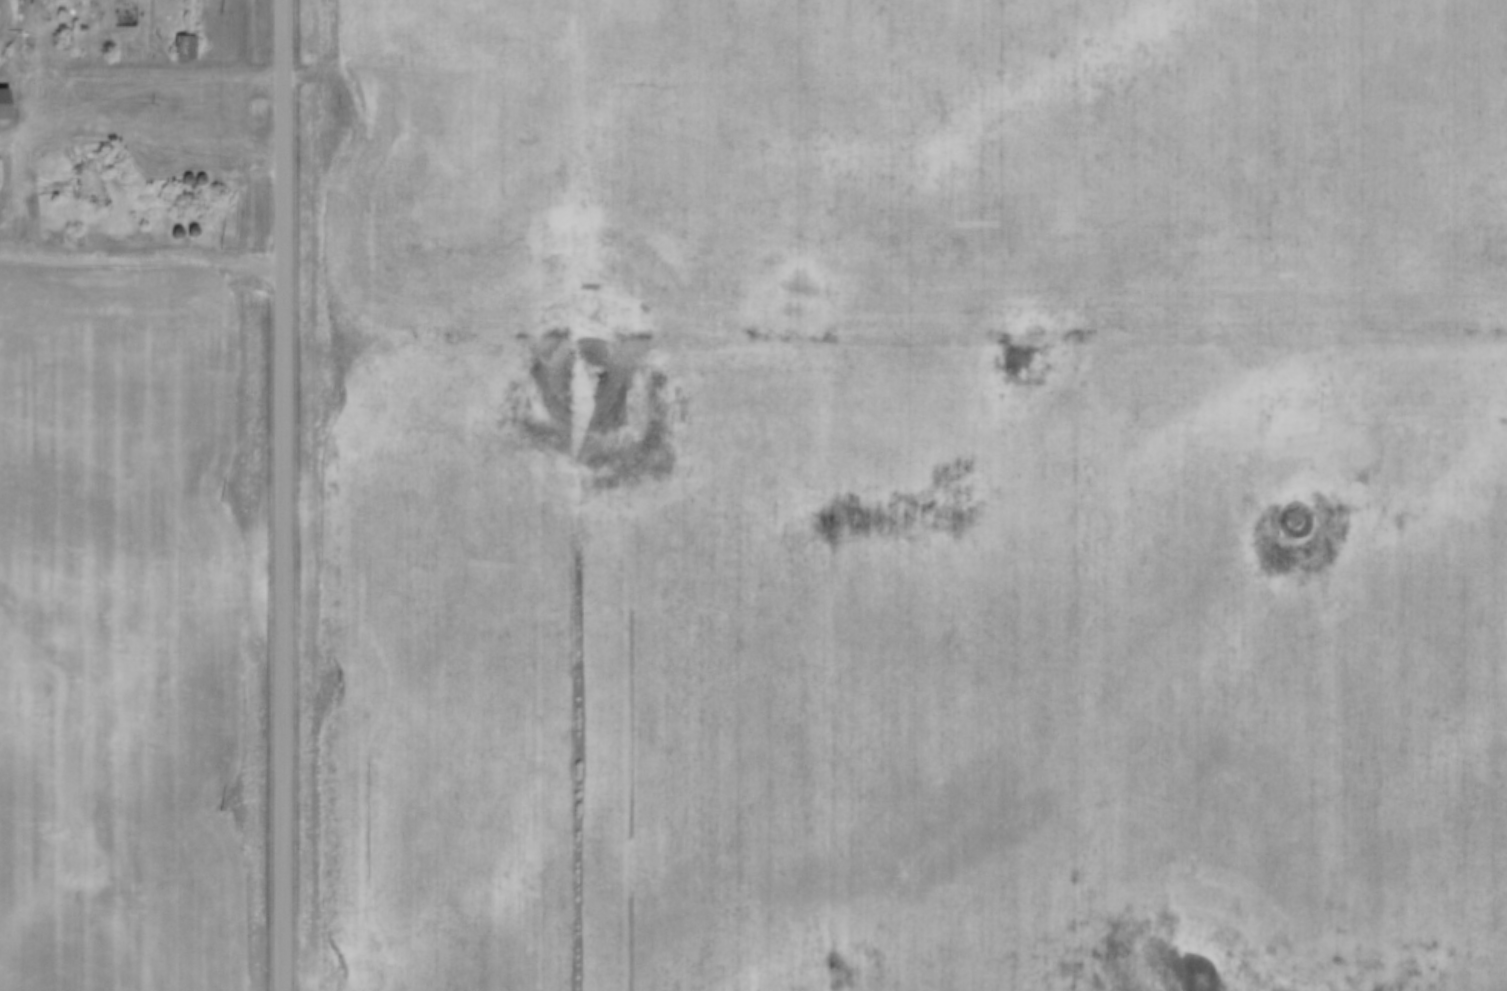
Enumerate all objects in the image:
road: (45, 104)
building: (5, 105)
road: (143, 261)
road: (285, 495)

